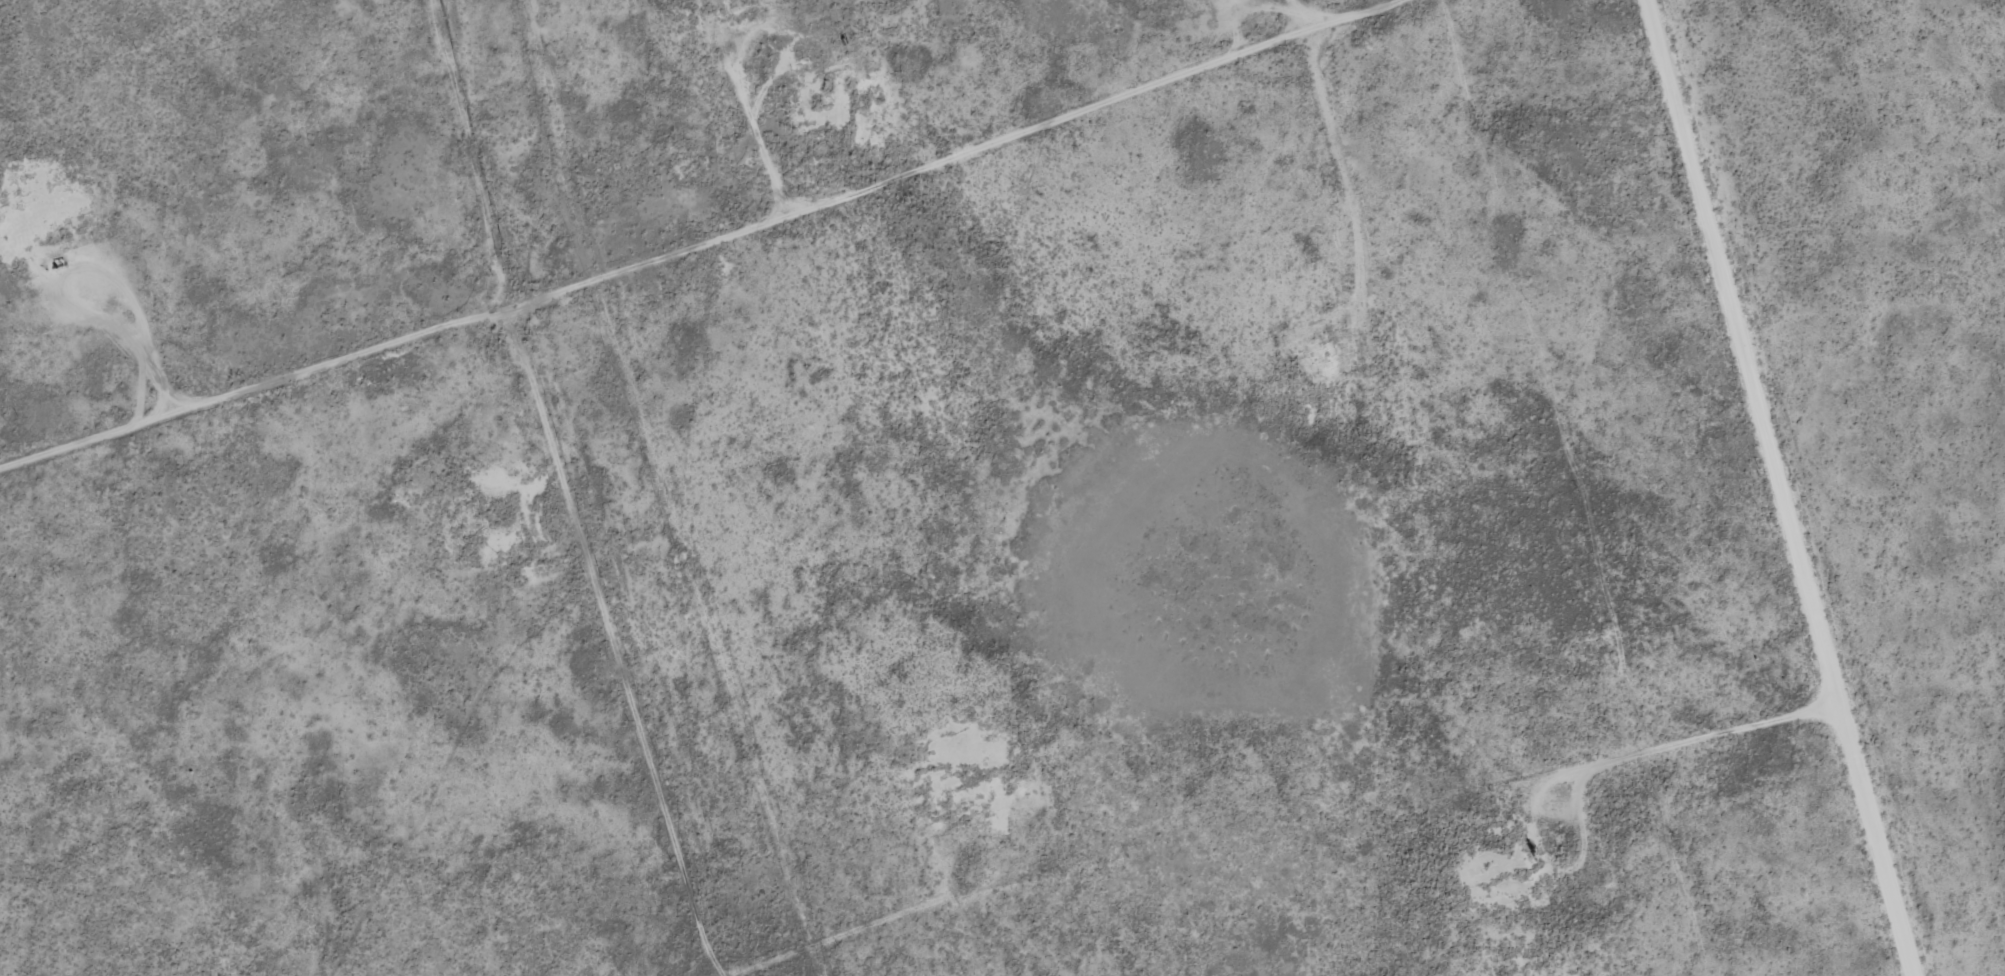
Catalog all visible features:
road: (462, 149)
road: (1372, 199)
road: (691, 237)
road: (1788, 488)

